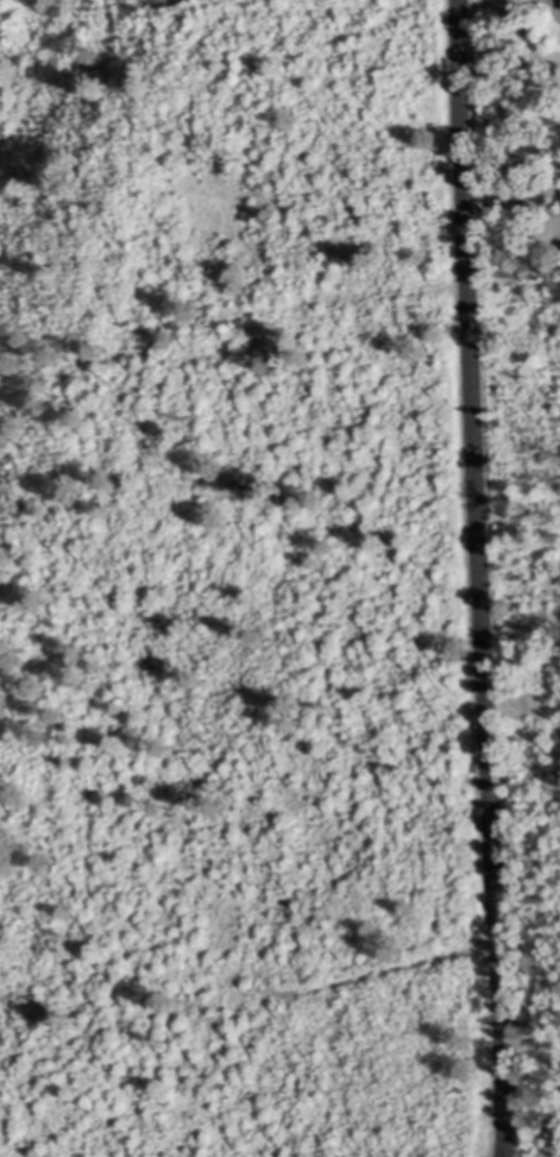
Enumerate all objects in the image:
road: (524, 29)
road: (482, 578)

